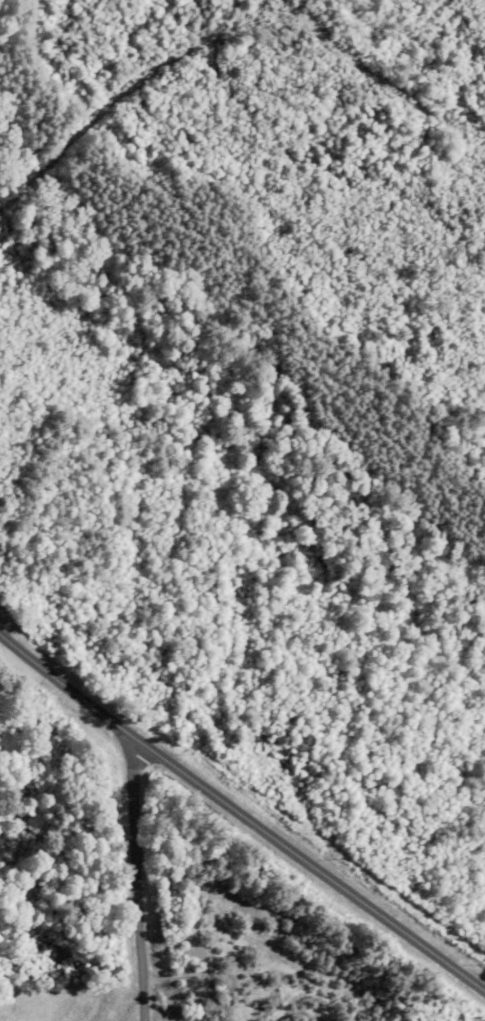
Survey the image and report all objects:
road: (240, 817)
road: (143, 886)

